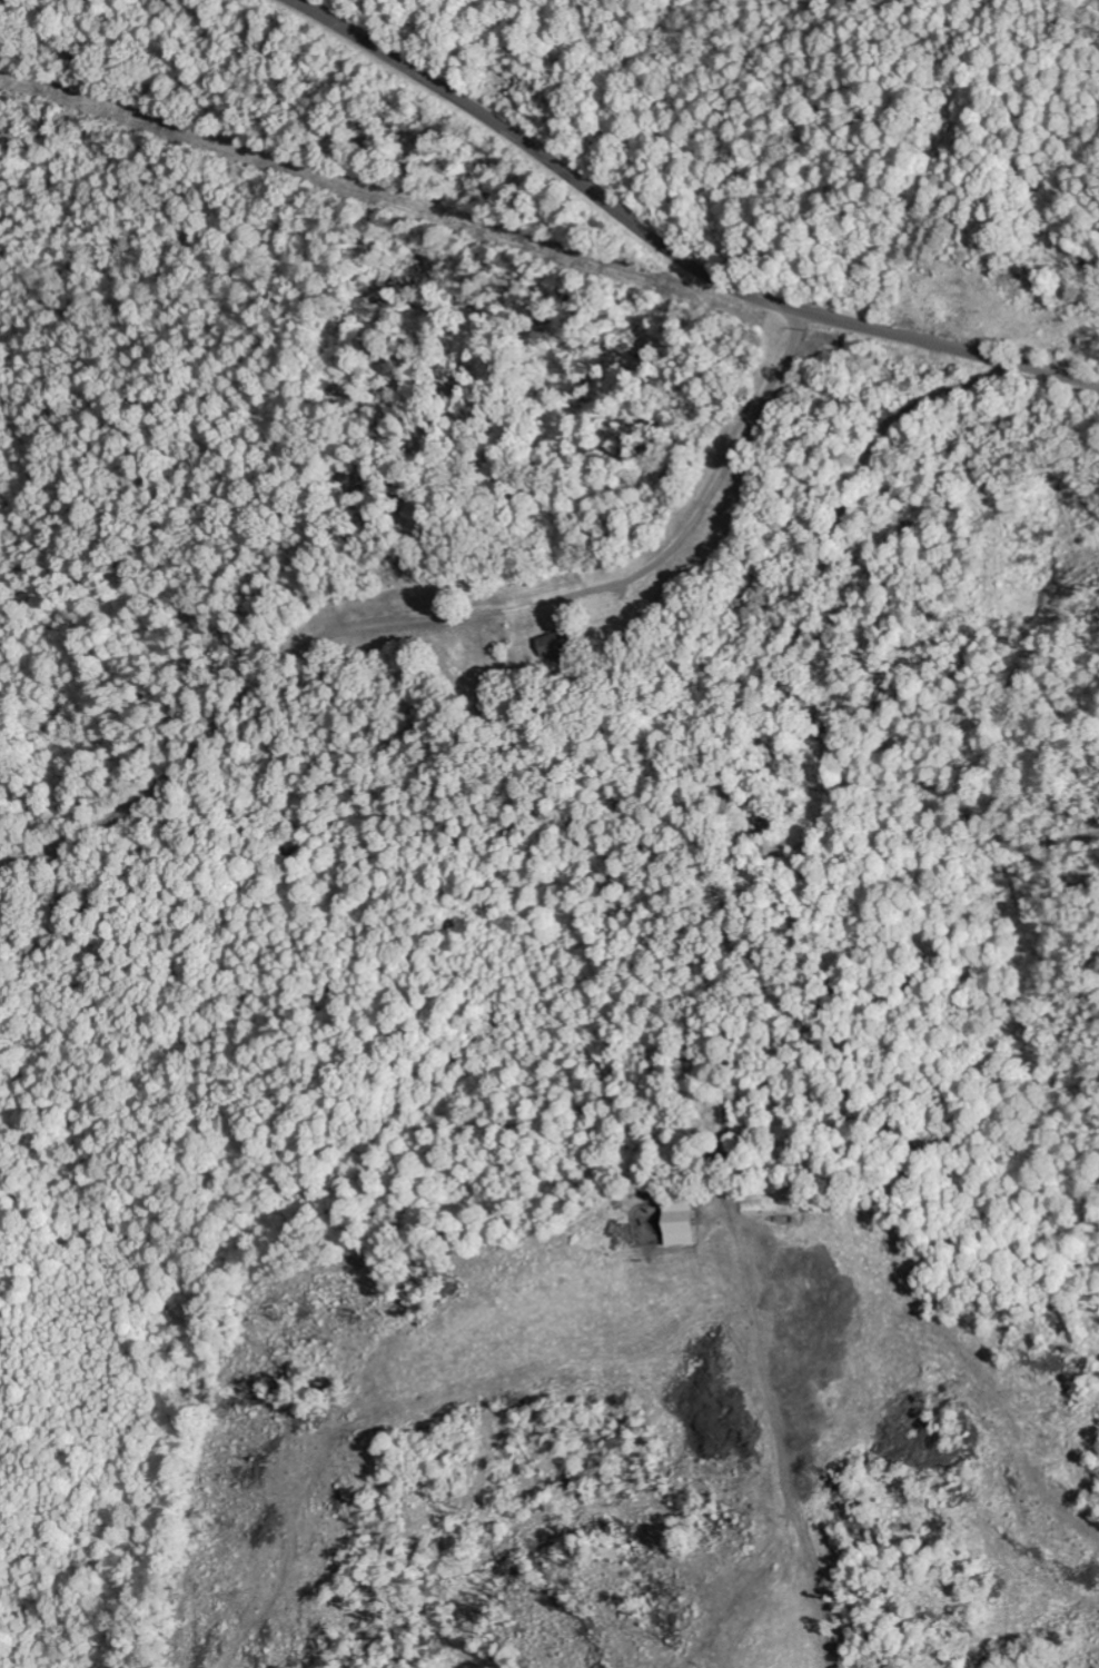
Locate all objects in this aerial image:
road: (672, 247)
building: (675, 1224)
road: (983, 1233)
road: (31, 1651)

